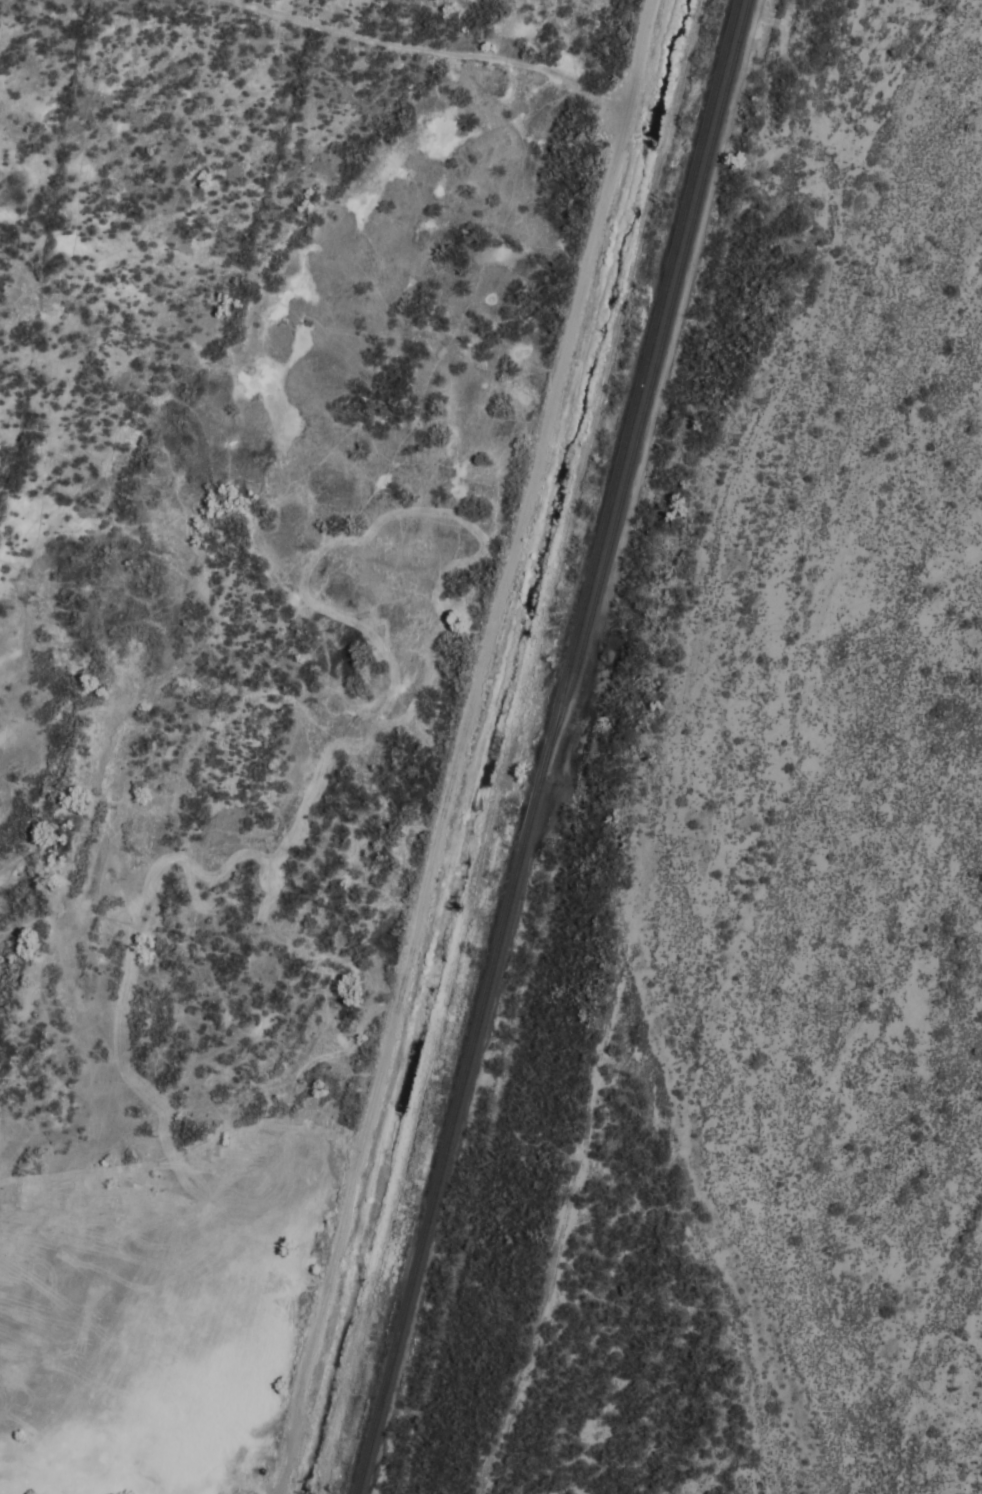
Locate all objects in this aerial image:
road: (432, 51)
railway: (653, 386)
road: (716, 744)
road: (464, 746)
railway: (552, 746)
road: (616, 747)

